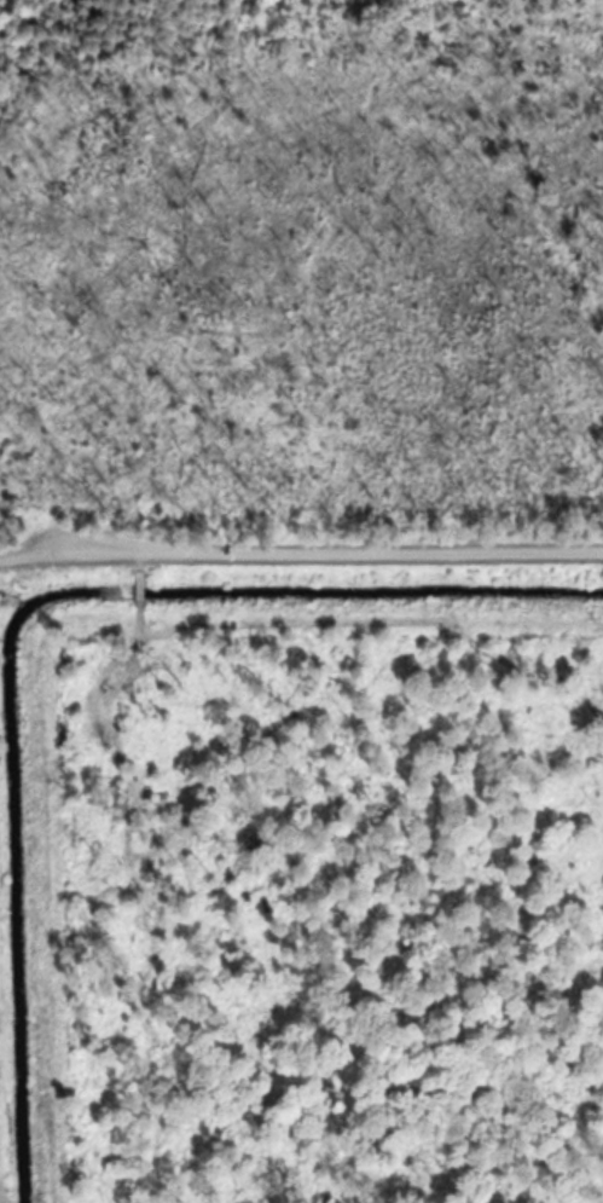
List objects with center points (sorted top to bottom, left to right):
road: (301, 551)

